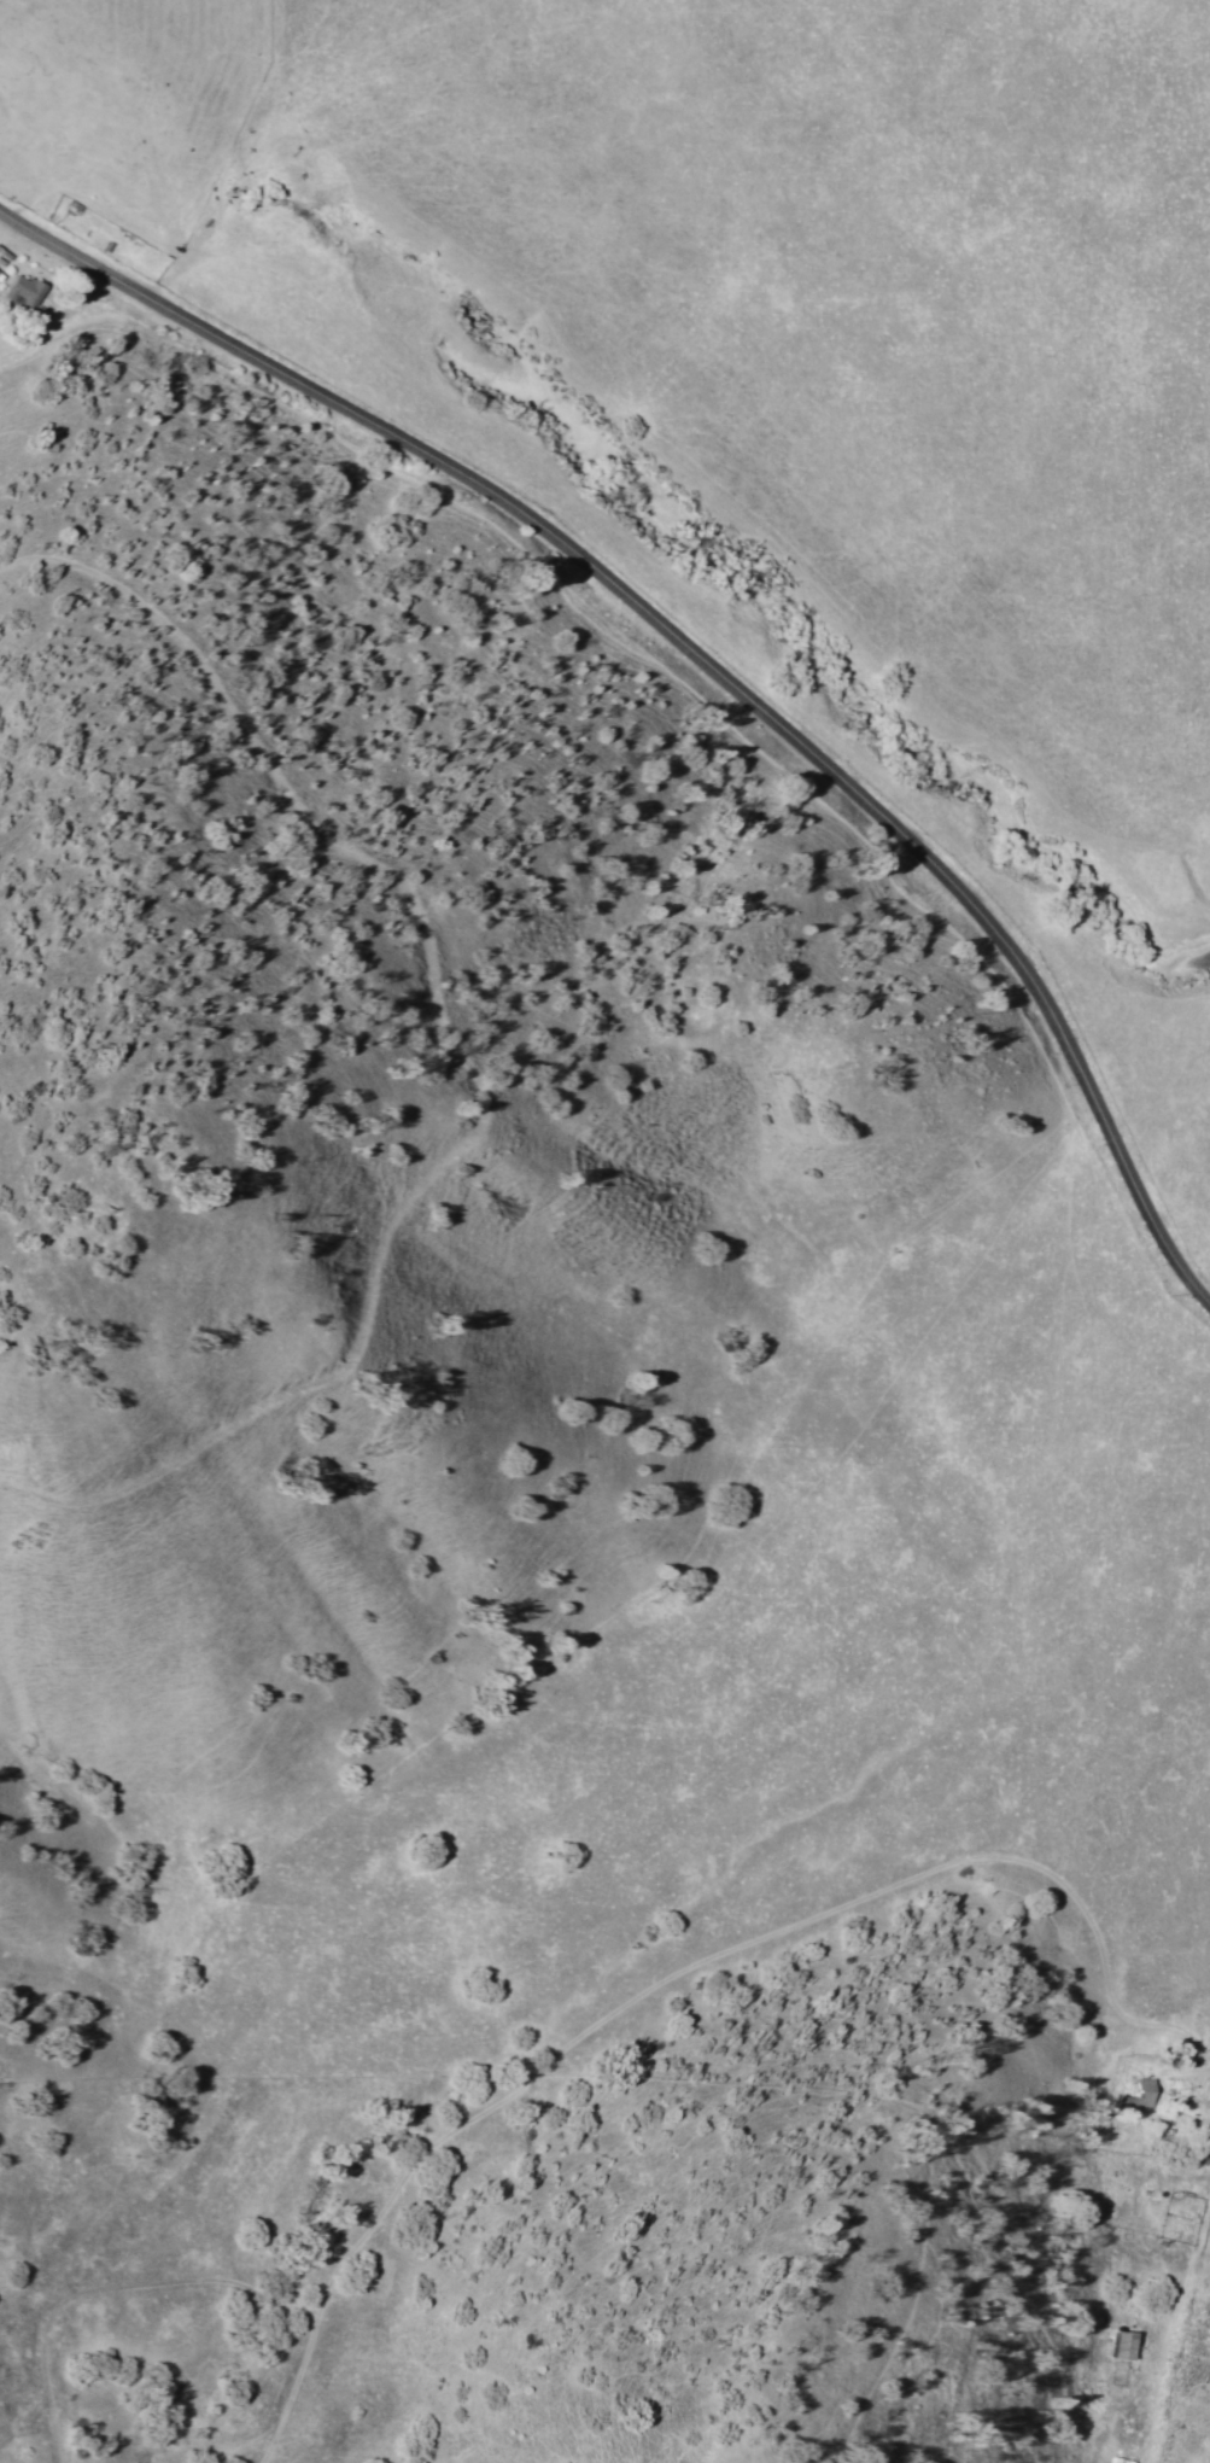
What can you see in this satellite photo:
building: (18, 293)
crop: (762, 308)
road: (703, 654)
crop: (1177, 1137)
crop: (813, 1646)
building: (1187, 2096)
building: (1120, 2101)
building: (1198, 2156)
building: (1112, 2346)

